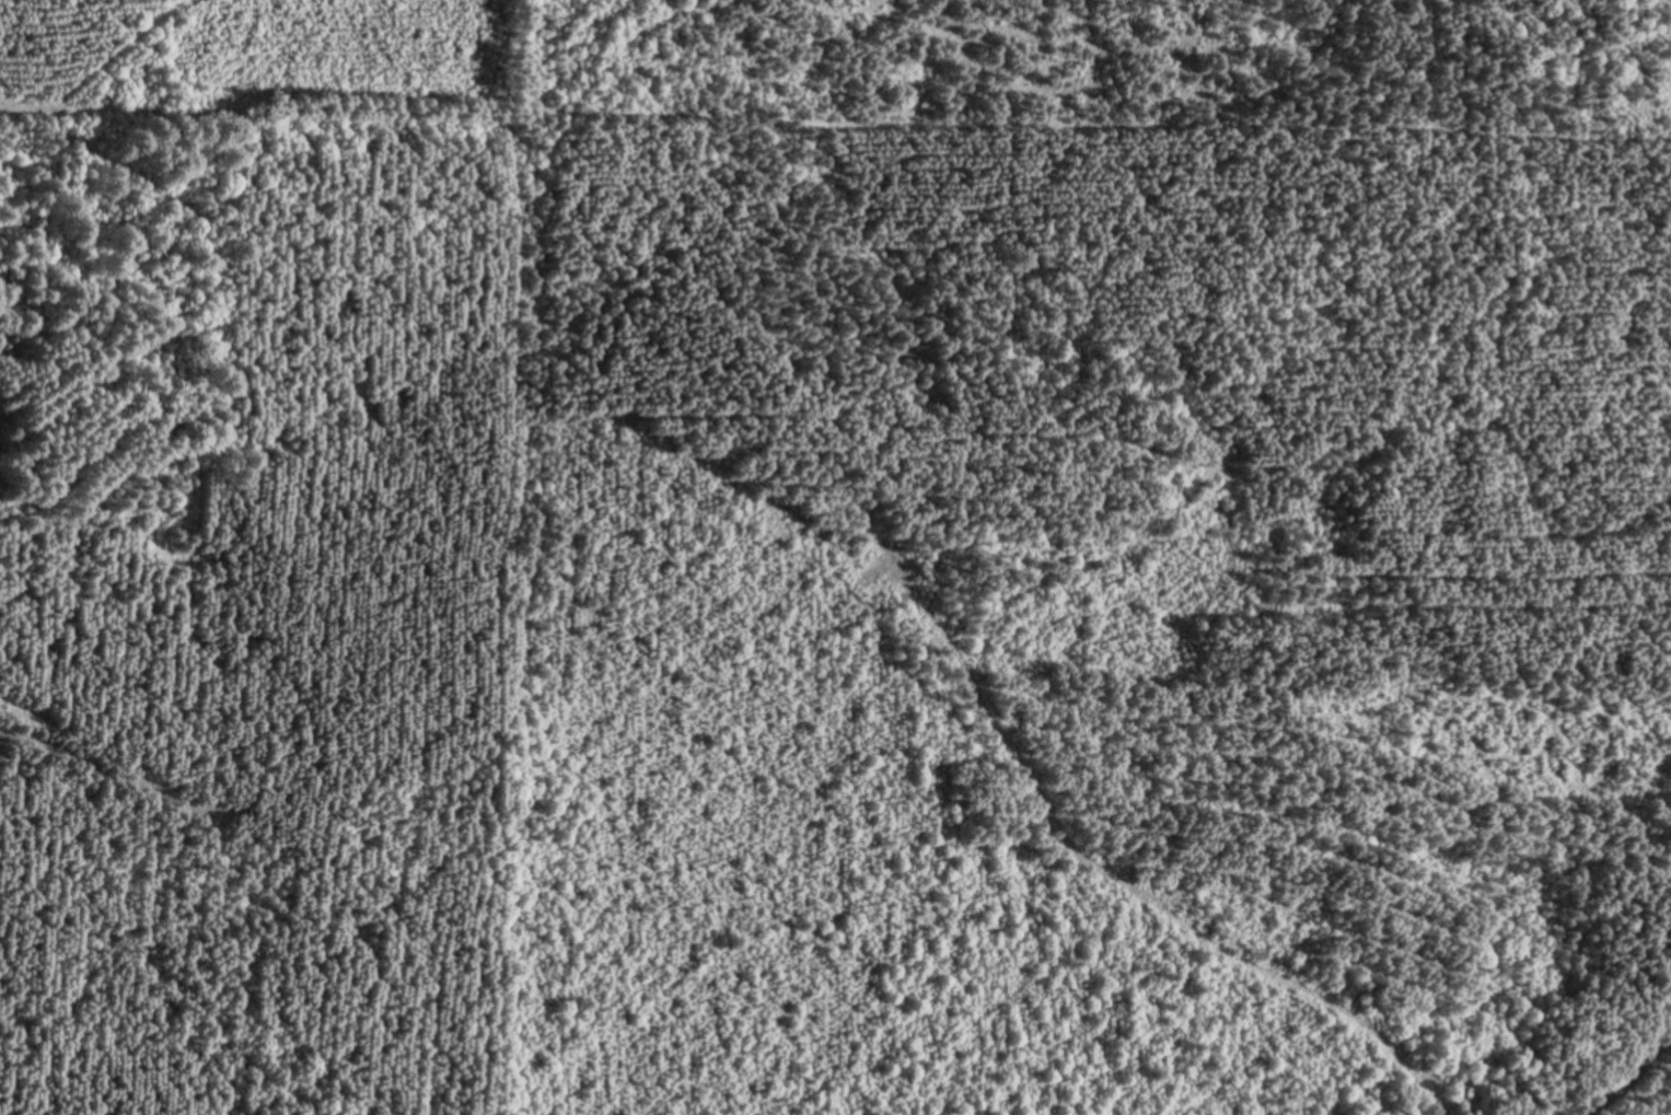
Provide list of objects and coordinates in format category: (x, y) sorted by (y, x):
road: (8, 101)

